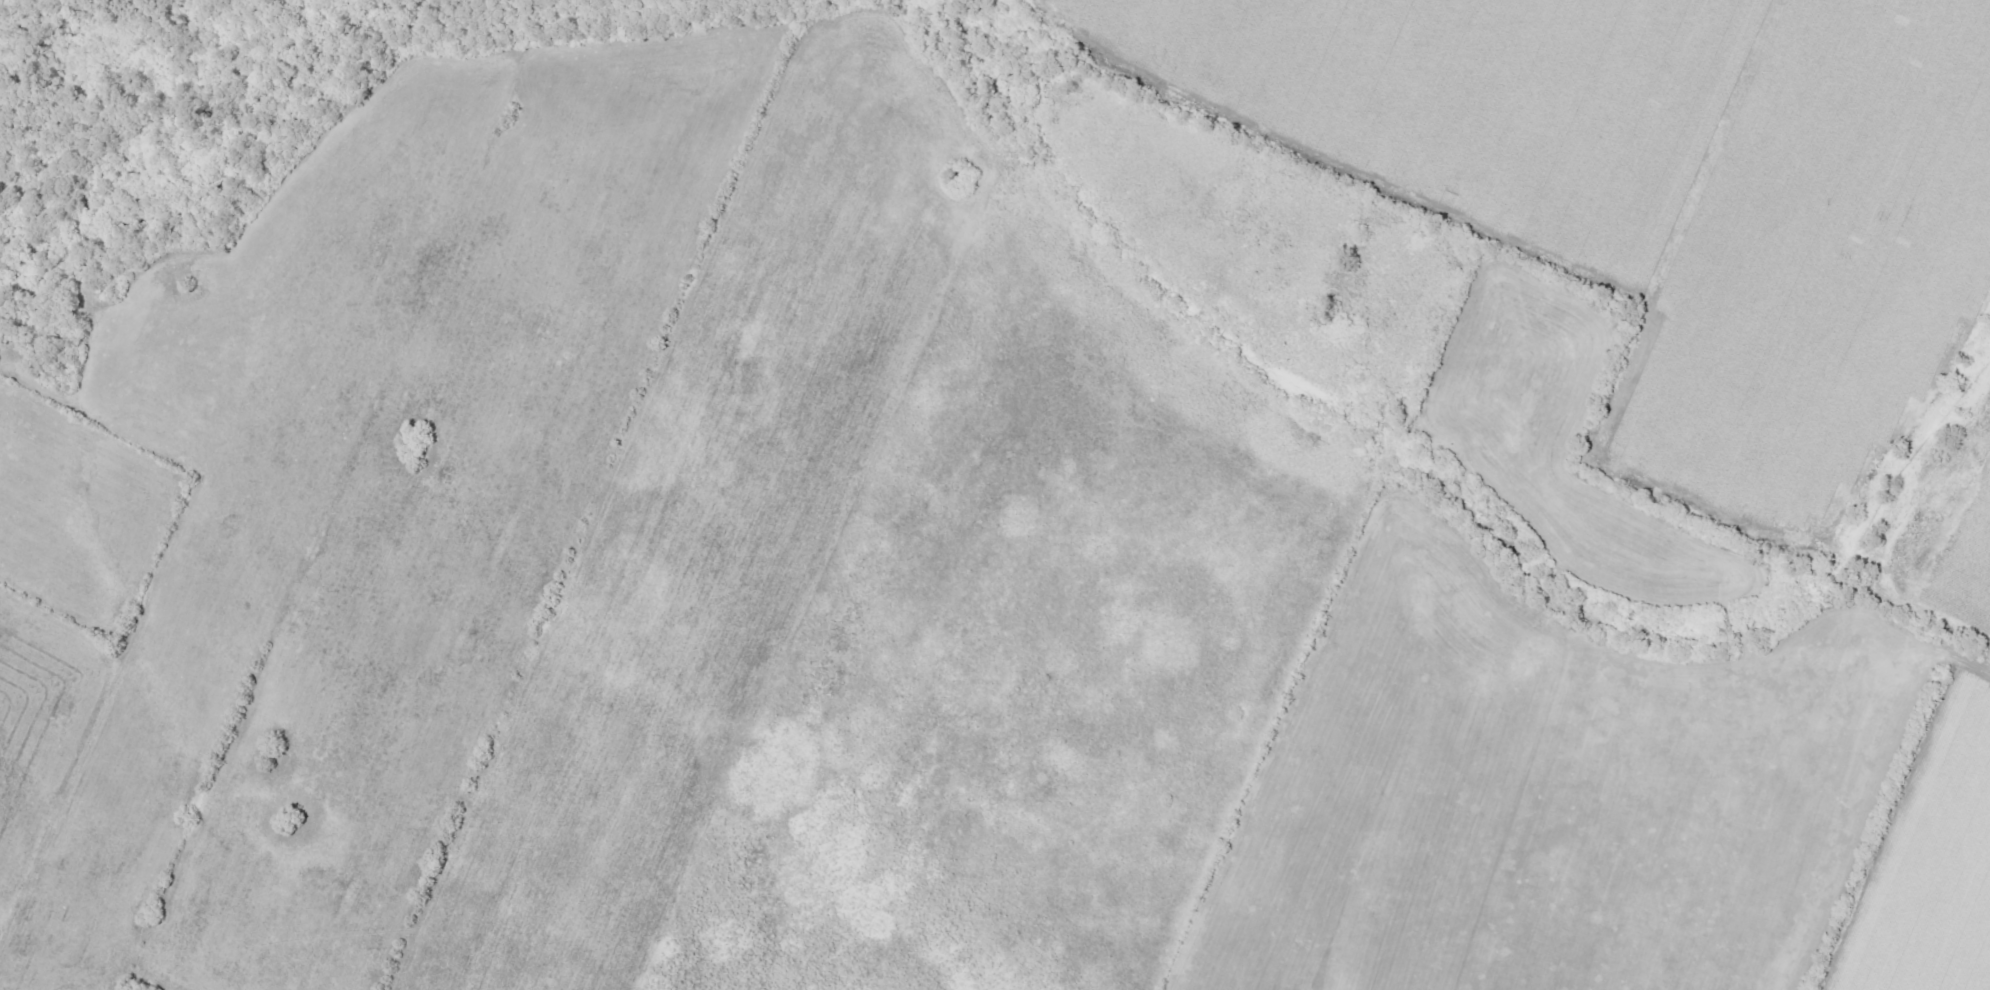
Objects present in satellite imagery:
road: (780, 637)

